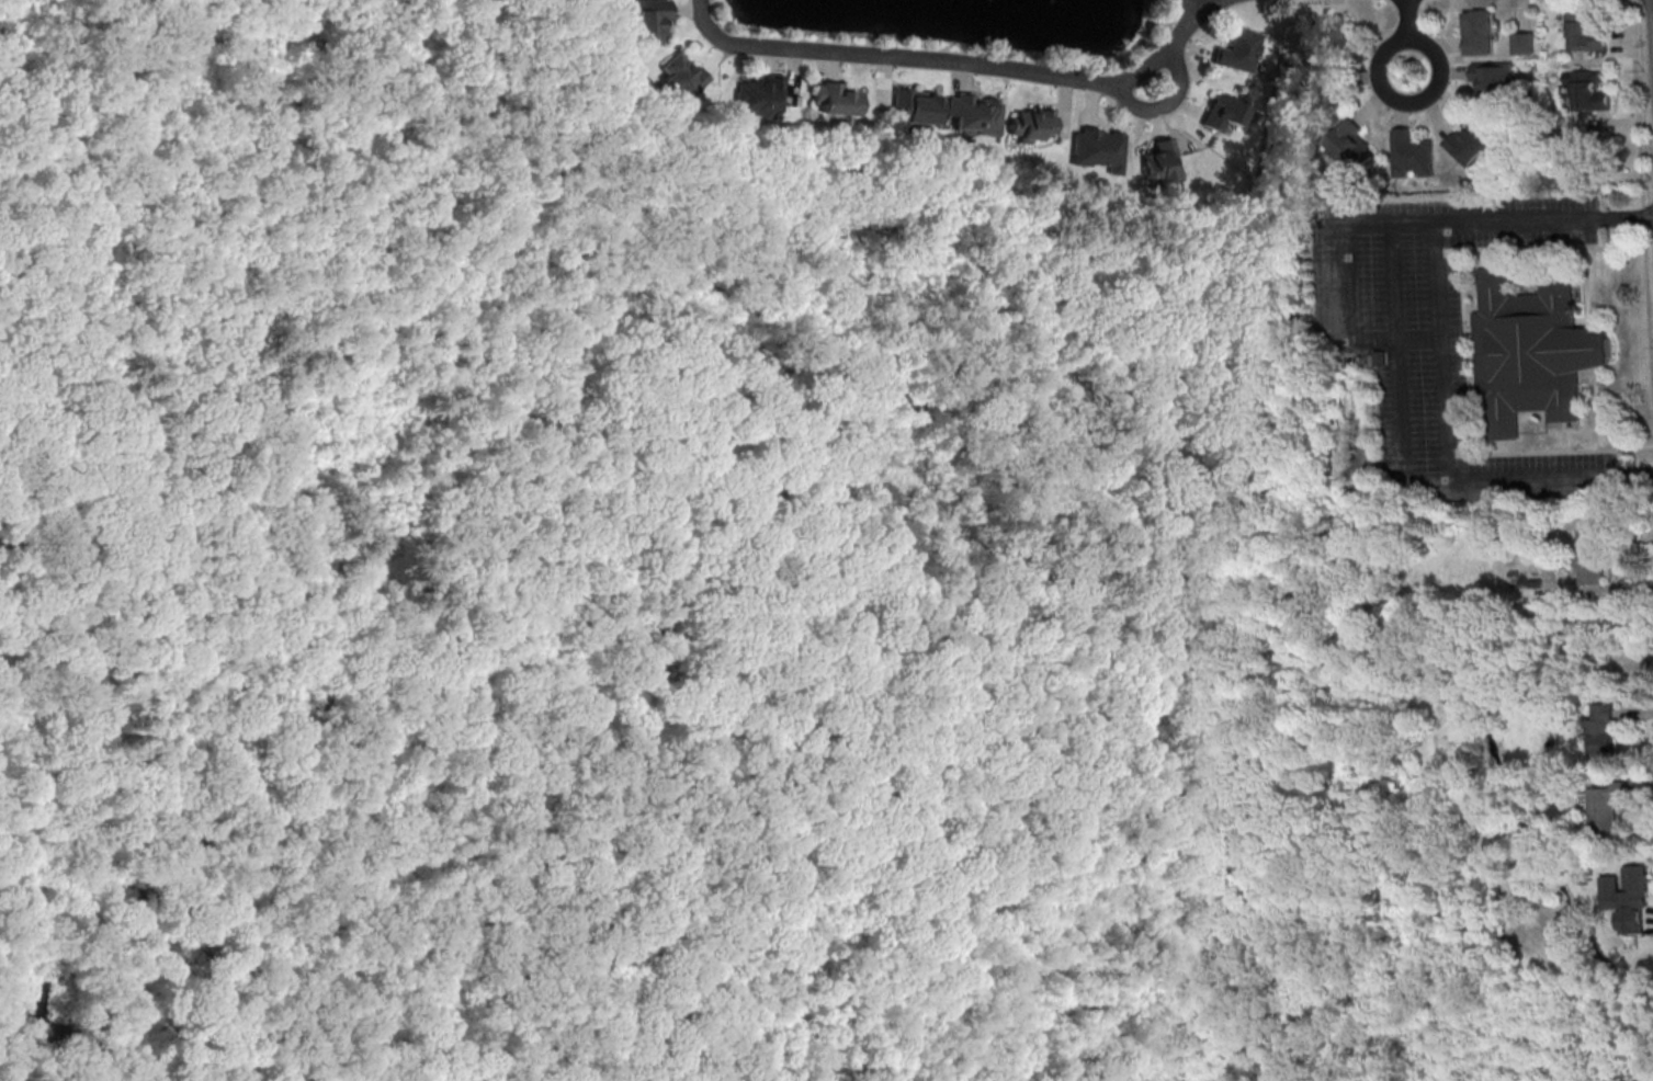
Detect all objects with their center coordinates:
road: (1213, 4)
building: (646, 22)
building: (1481, 31)
building: (1587, 32)
road: (1409, 33)
building: (1334, 35)
building: (1524, 44)
building: (1236, 50)
road: (959, 62)
building: (680, 75)
building: (1494, 79)
building: (1331, 88)
building: (1587, 91)
building: (757, 96)
building: (835, 100)
road: (1166, 106)
building: (1220, 113)
building: (972, 114)
building: (1029, 123)
building: (1474, 141)
building: (1352, 147)
building: (1095, 148)
building: (1412, 153)
building: (1159, 162)
road: (1642, 186)
road: (1632, 216)
road: (713, 234)
road: (673, 251)
road: (1396, 282)
road: (1074, 283)
road: (623, 299)
parking lot: (1438, 335)
road: (1366, 339)
road: (1311, 341)
road: (1300, 346)
building: (1533, 352)
road: (1441, 353)
road: (1278, 354)
building: (1380, 359)
road: (1303, 390)
road: (473, 421)
road: (1638, 476)
road: (1168, 480)
road: (215, 497)
road: (1116, 508)
road: (359, 510)
road: (1105, 526)
building: (1593, 554)
road: (1619, 591)
road: (1633, 713)
building: (1601, 728)
road: (800, 729)
road: (1643, 793)
building: (1608, 805)
road: (916, 880)
building: (1628, 898)
road: (1648, 926)
road: (362, 945)
road: (236, 986)
road: (947, 1037)
road: (970, 1055)

